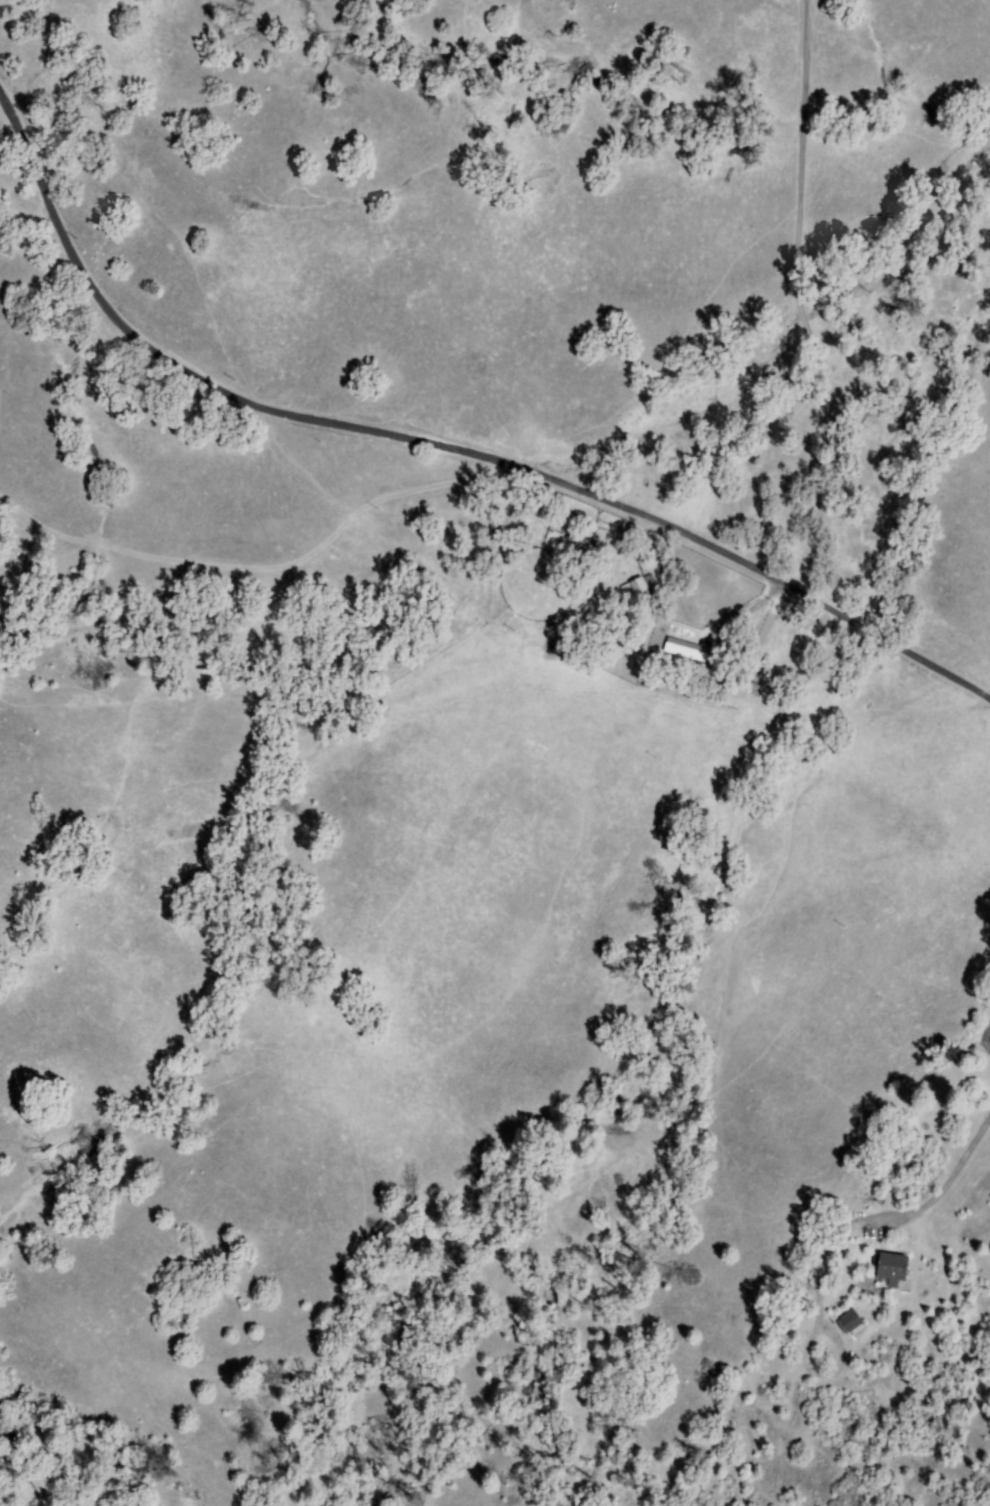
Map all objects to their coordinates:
road: (813, 295)
road: (436, 442)
building: (641, 591)
building: (629, 593)
building: (688, 650)
building: (986, 1041)
building: (892, 1267)
building: (851, 1322)

